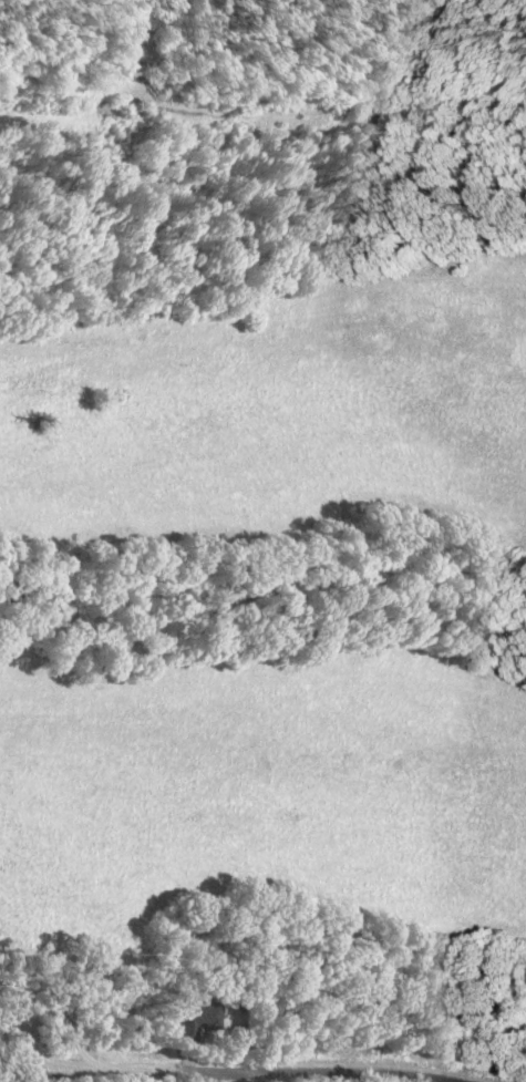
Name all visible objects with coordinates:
building: (197, 1020)
road: (249, 1070)

